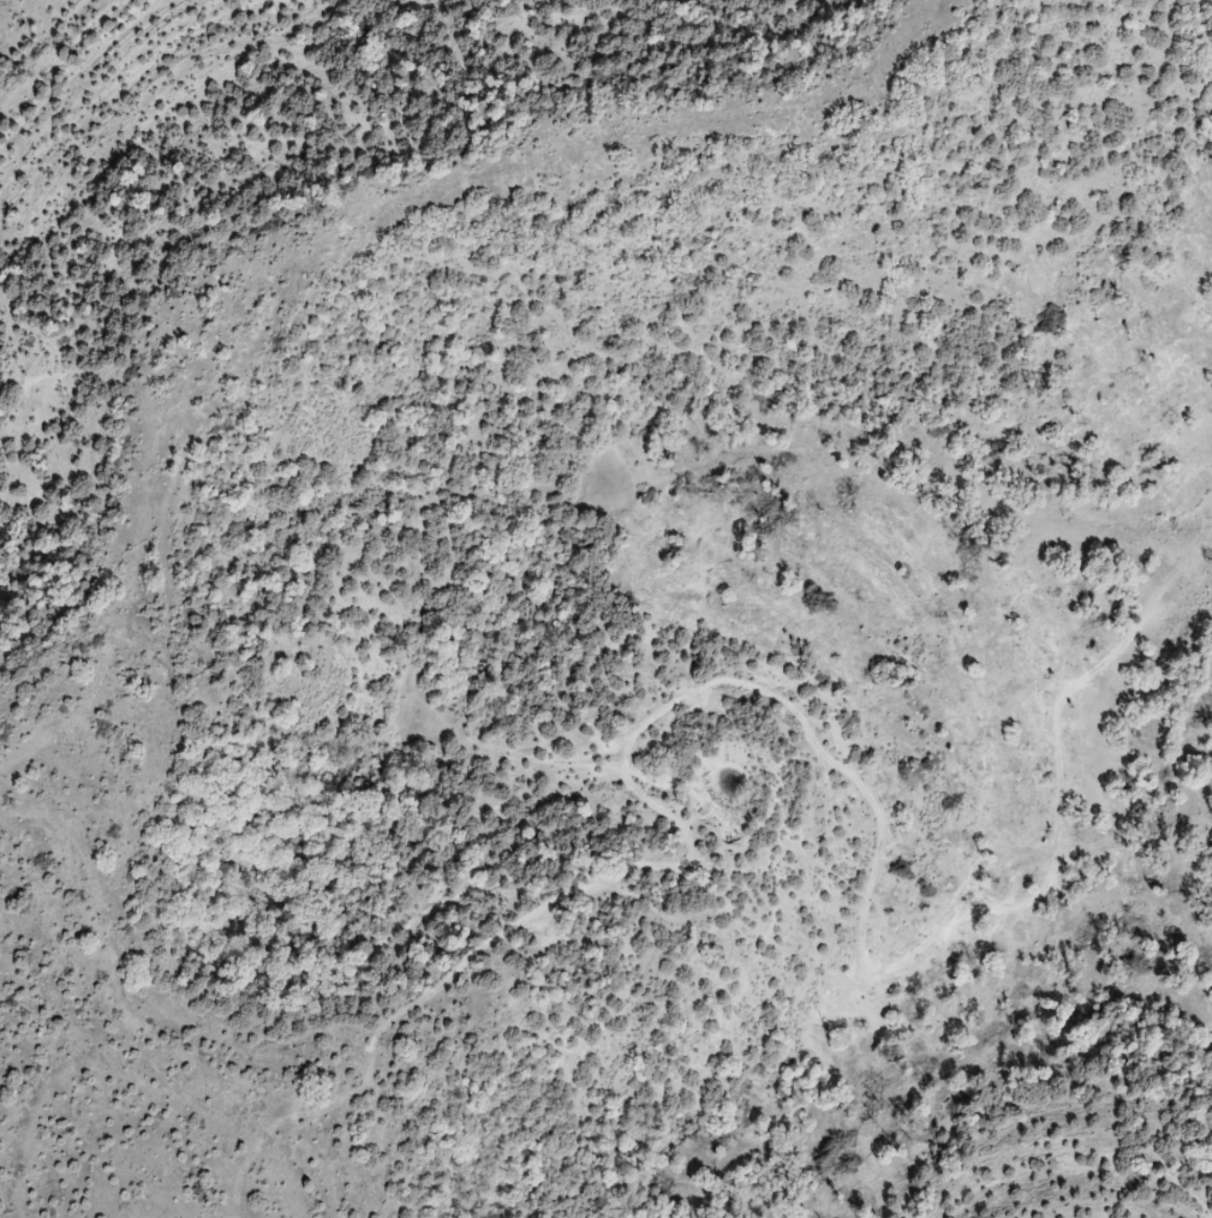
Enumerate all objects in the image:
road: (799, 742)

